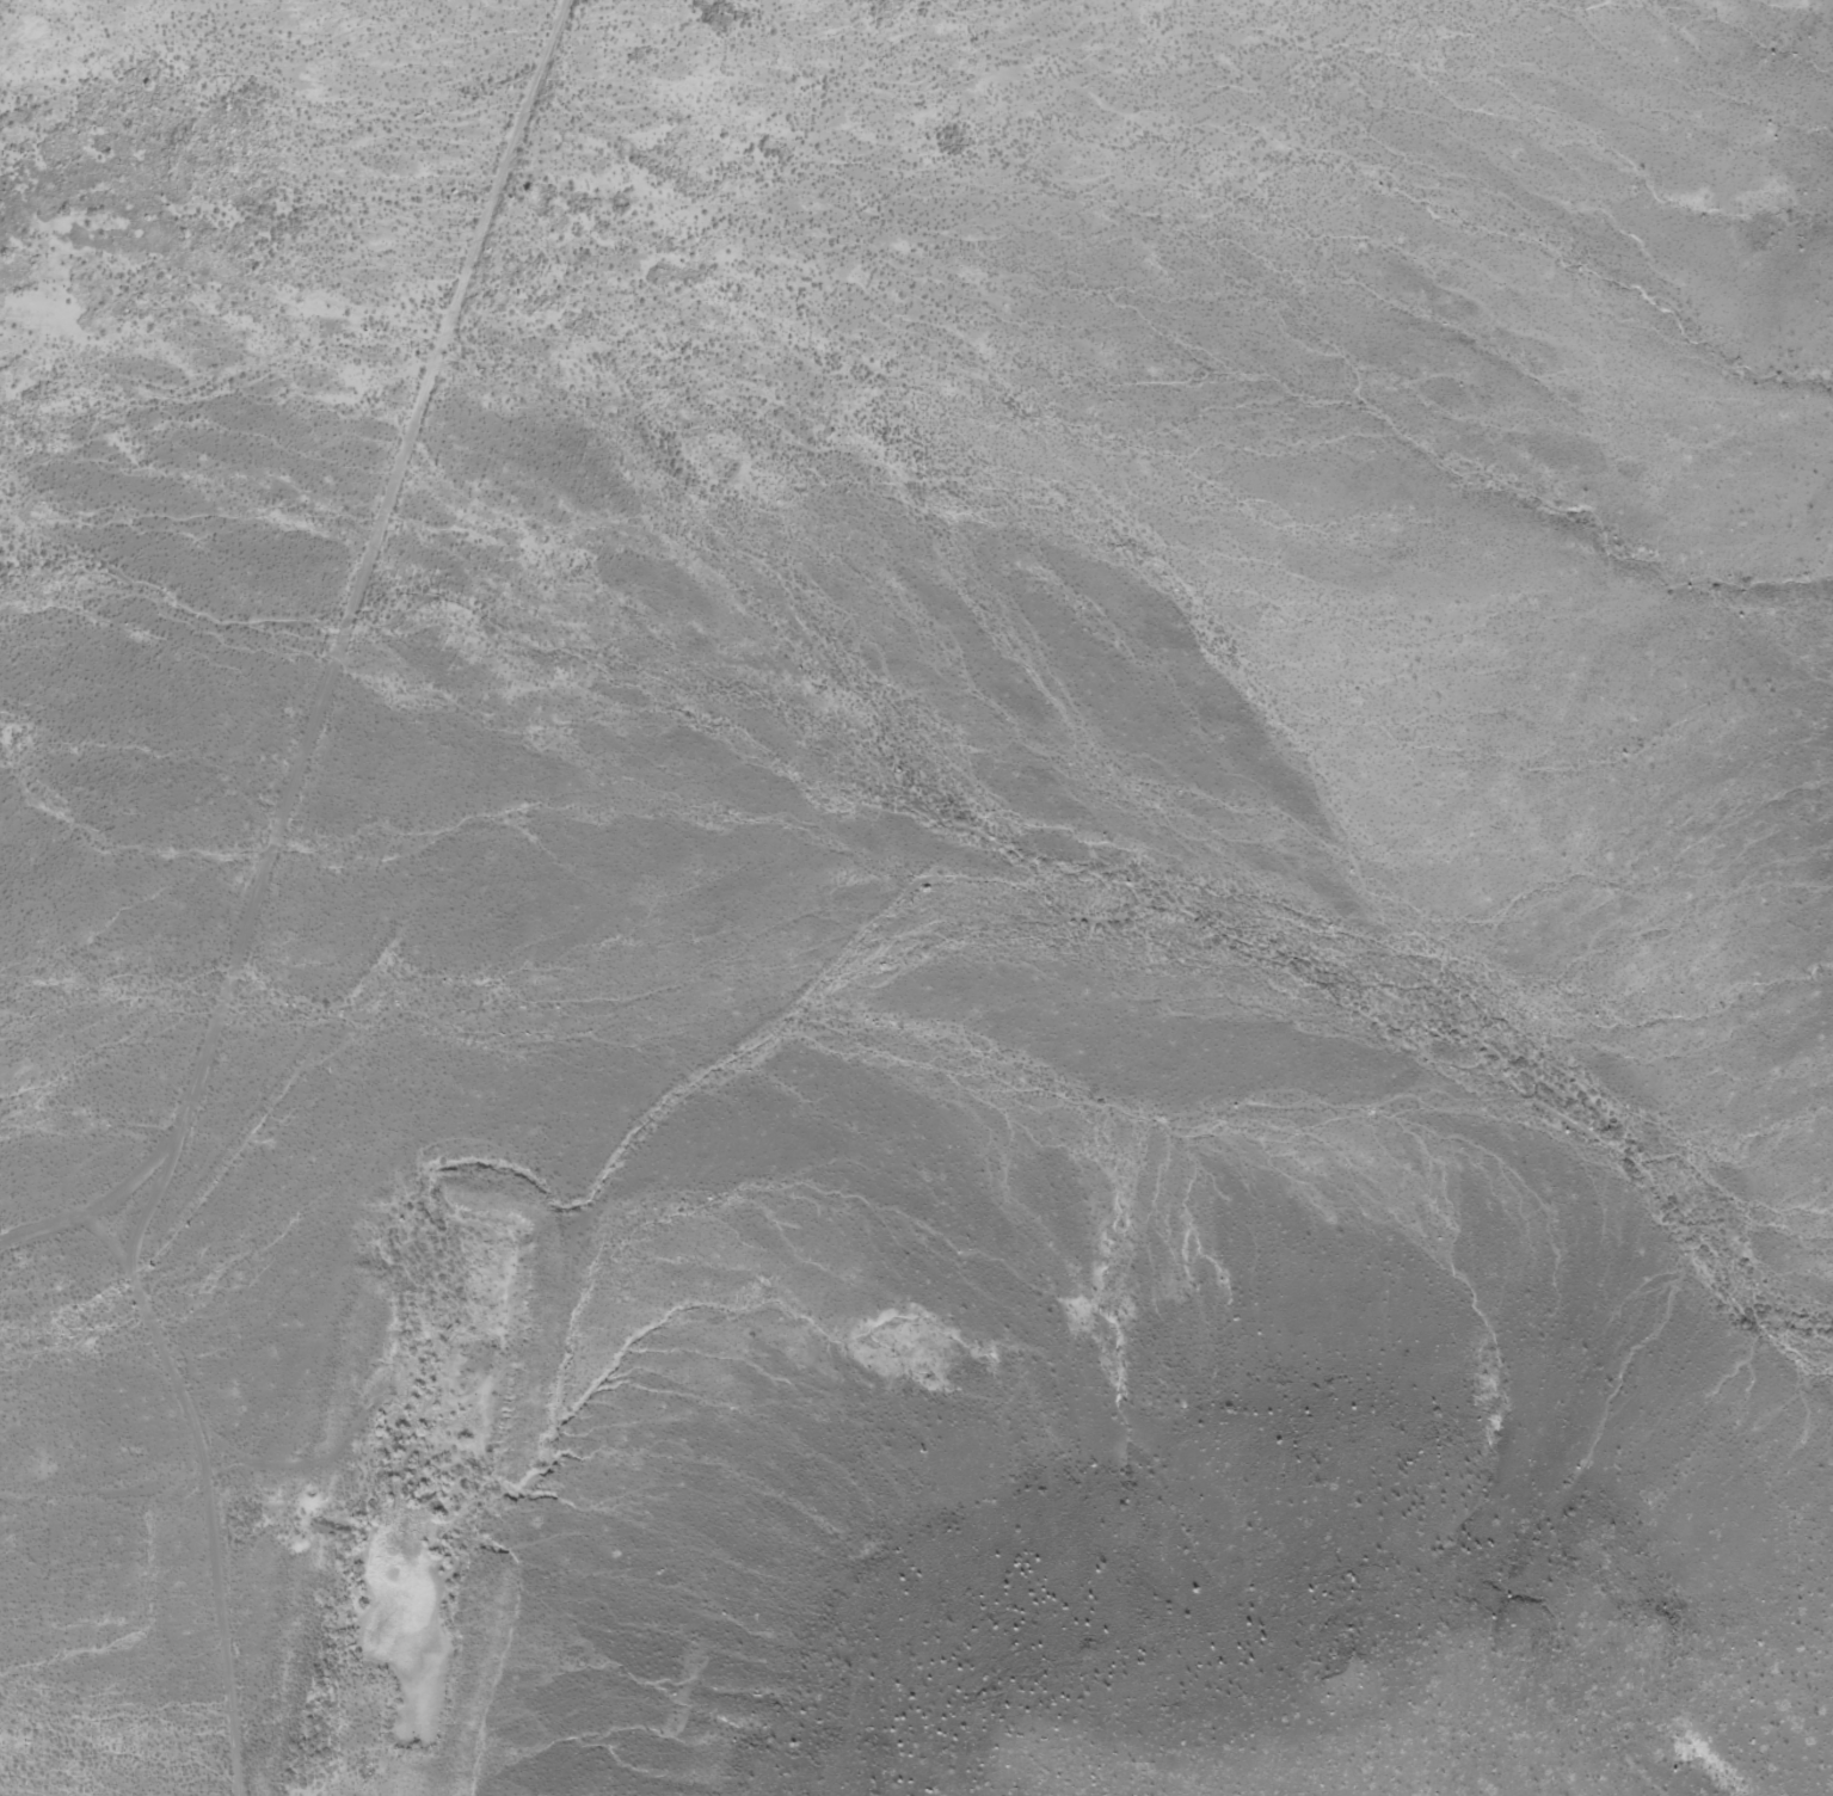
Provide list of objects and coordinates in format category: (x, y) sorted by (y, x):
road: (299, 657)
road: (191, 1501)

